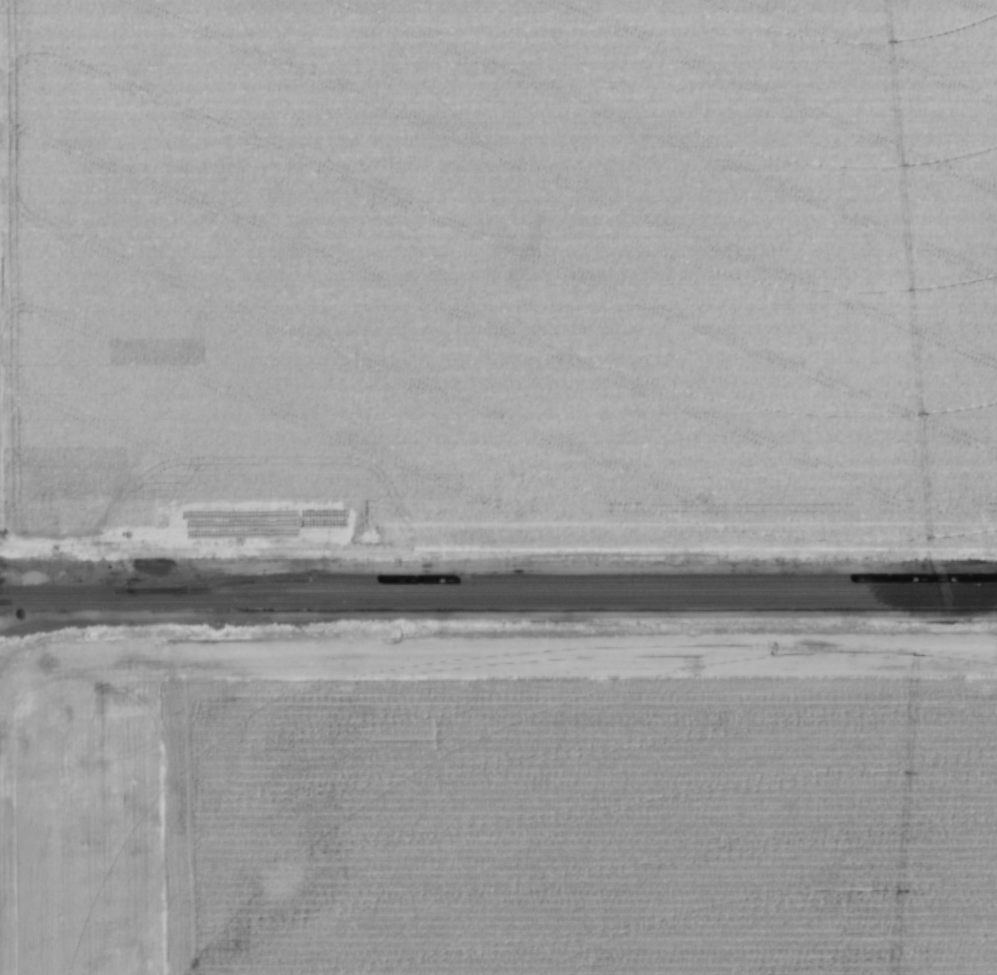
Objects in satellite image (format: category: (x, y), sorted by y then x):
railway: (577, 580)
railway: (498, 590)
railway: (498, 601)

